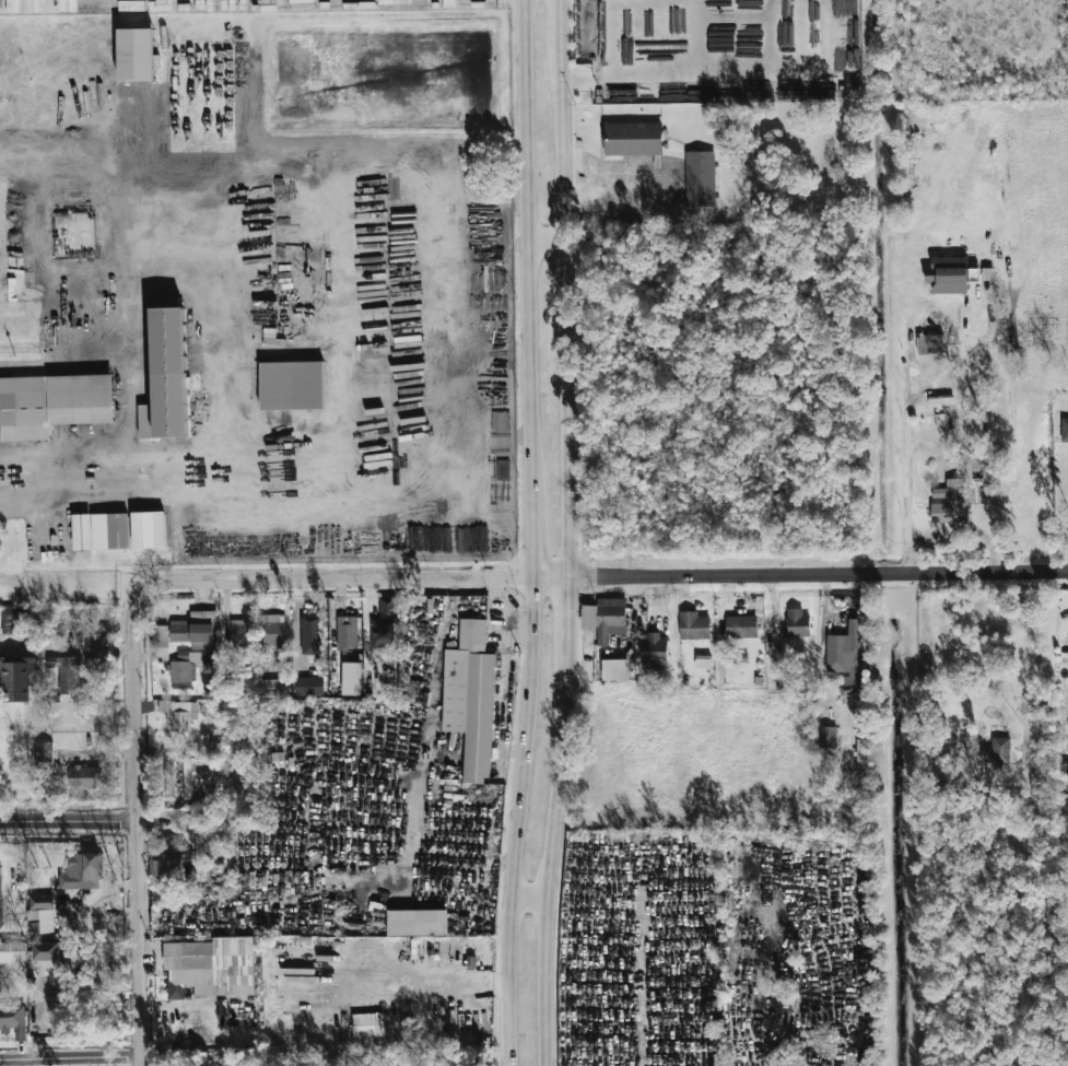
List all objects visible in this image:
building: (85, 5)
road: (560, 34)
building: (136, 55)
road: (662, 73)
building: (633, 139)
road: (614, 172)
building: (700, 178)
road: (547, 245)
road: (529, 254)
building: (948, 274)
road: (565, 323)
building: (929, 343)
building: (166, 374)
building: (292, 385)
building: (52, 403)
road: (131, 427)
building: (1065, 430)
road: (906, 432)
road: (213, 433)
road: (245, 473)
building: (950, 504)
road: (367, 515)
building: (149, 529)
building: (951, 529)
building: (101, 531)
road: (532, 543)
road: (603, 577)
road: (565, 609)
building: (605, 618)
building: (797, 623)
building: (384, 624)
building: (693, 625)
building: (740, 626)
building: (273, 628)
building: (239, 631)
building: (347, 632)
road: (441, 632)
building: (193, 633)
building: (310, 634)
building: (159, 636)
building: (654, 648)
road: (70, 649)
building: (846, 657)
building: (703, 663)
building: (189, 664)
building: (615, 669)
building: (66, 671)
building: (17, 678)
building: (309, 686)
building: (273, 688)
building: (470, 699)
building: (179, 714)
building: (828, 737)
building: (996, 751)
building: (43, 755)
building: (862, 755)
building: (1066, 765)
building: (84, 776)
building: (1063, 810)
road: (516, 821)
road: (69, 822)
road: (138, 830)
building: (172, 851)
road: (550, 853)
building: (82, 871)
building: (0, 899)
road: (528, 899)
building: (42, 913)
building: (418, 923)
building: (34, 930)
building: (46, 951)
building: (12, 952)
building: (211, 967)
road: (639, 1015)
building: (13, 1020)
building: (367, 1024)
road: (71, 1057)

